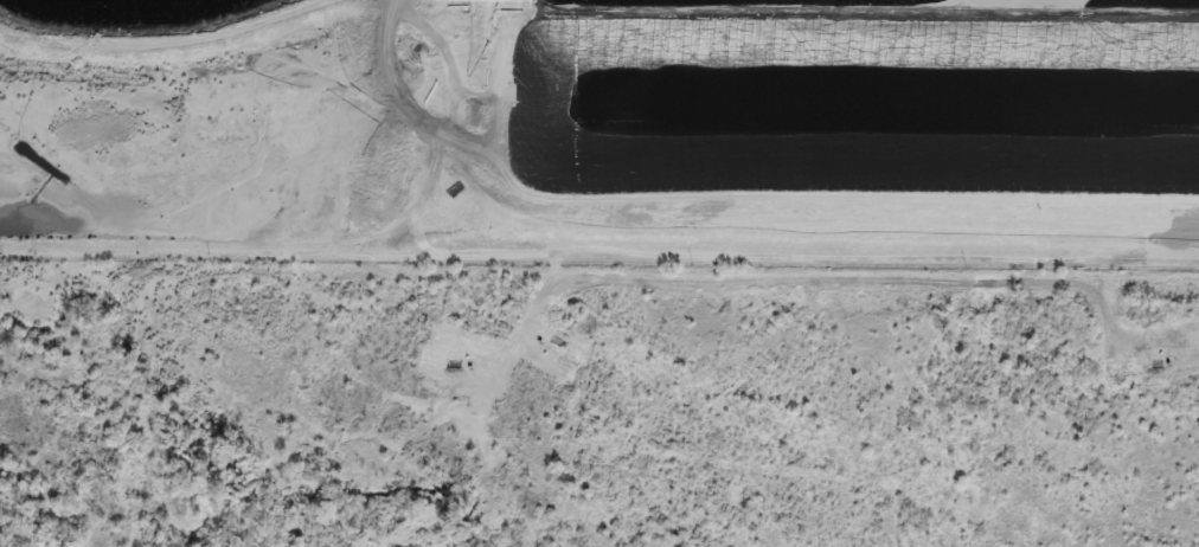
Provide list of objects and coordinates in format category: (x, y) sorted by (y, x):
power plant: (603, 129)

